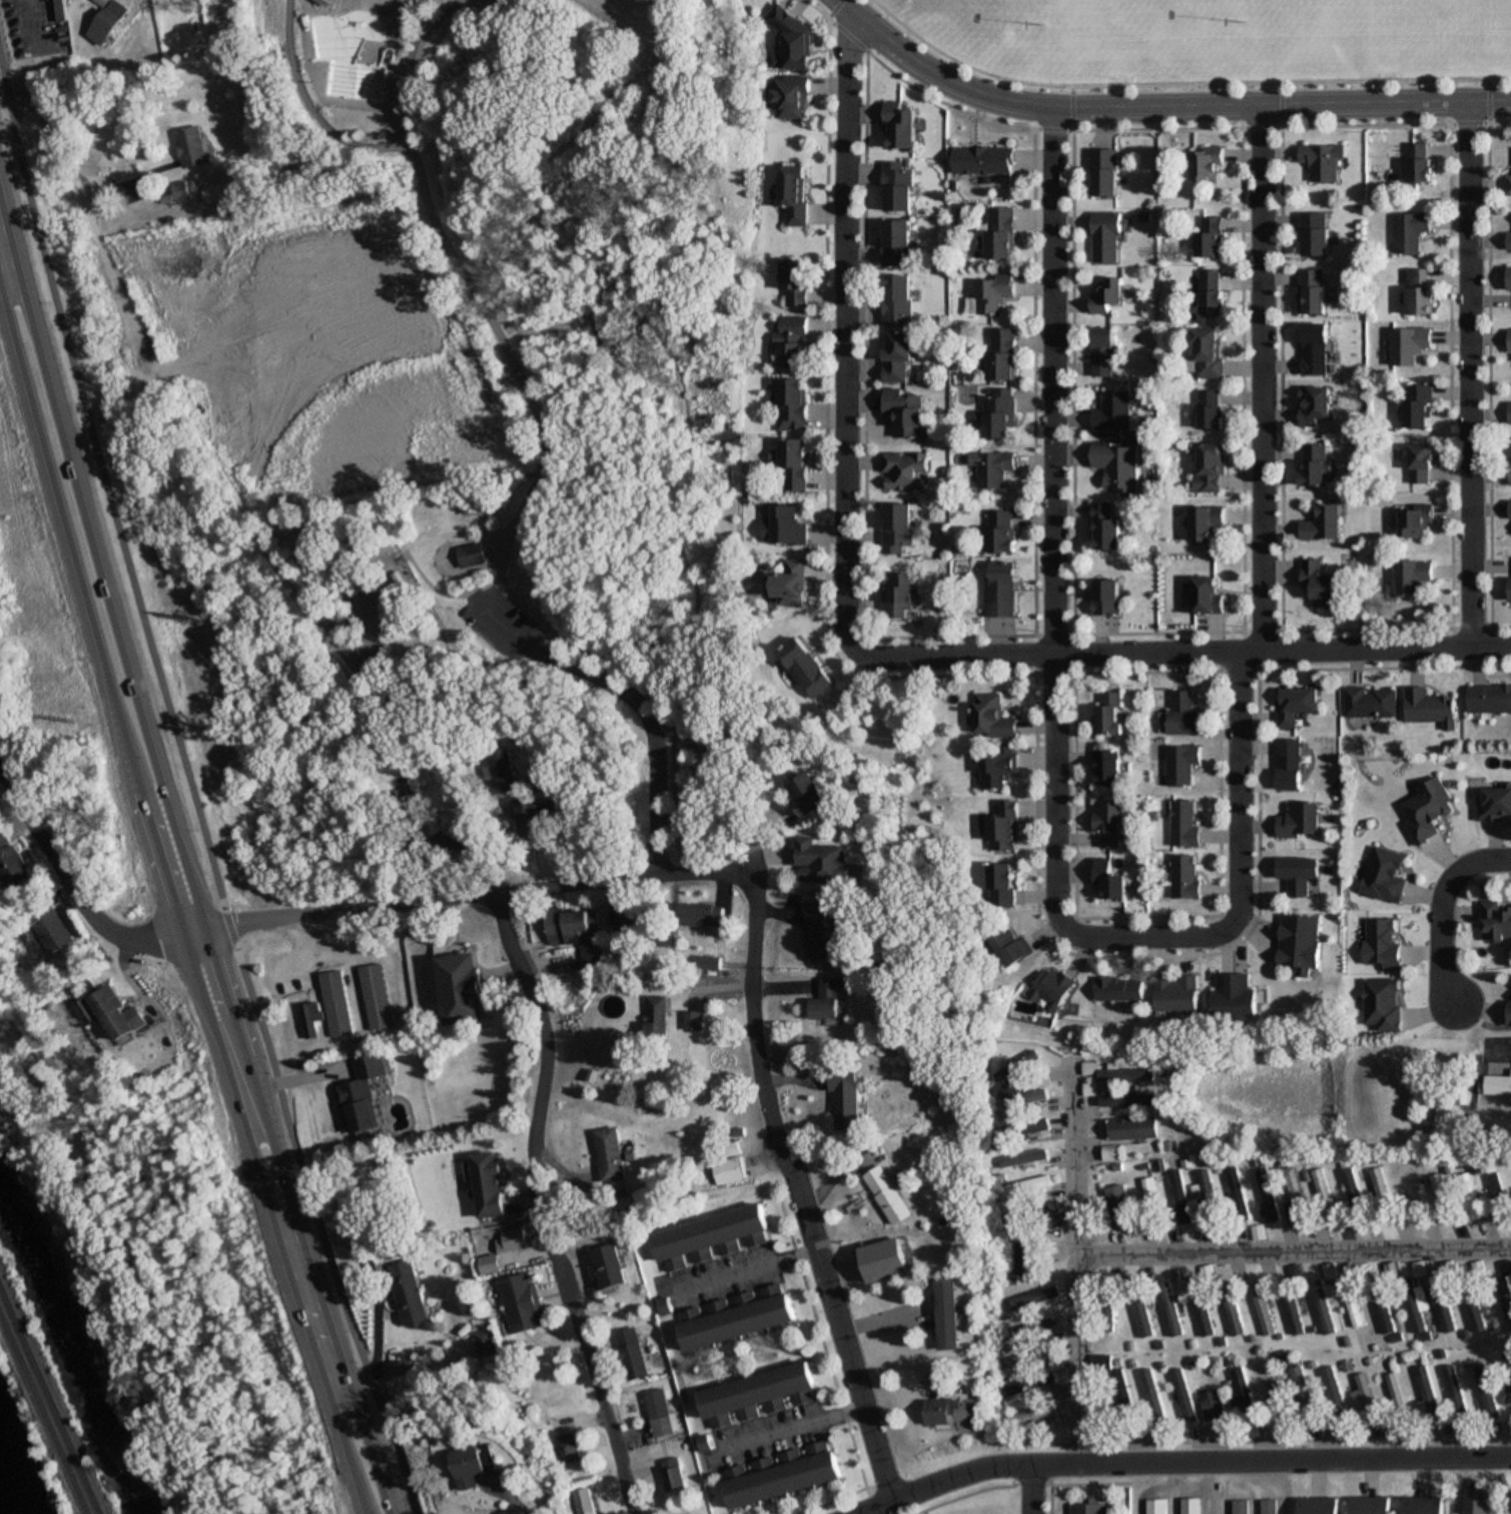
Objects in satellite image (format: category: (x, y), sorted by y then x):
road: (832, 9)
building: (60, 10)
building: (108, 22)
park: (1491, 27)
park: (1355, 29)
park: (1142, 32)
building: (792, 39)
park: (1216, 45)
building: (345, 65)
road: (1183, 79)
road: (1488, 96)
building: (787, 98)
road: (1280, 101)
road: (1069, 103)
road: (1155, 103)
road: (310, 104)
road: (1136, 125)
building: (900, 126)
building: (192, 147)
building: (983, 161)
building: (1321, 161)
building: (1207, 164)
building: (1419, 164)
road: (569, 165)
building: (1105, 173)
building: (1508, 185)
building: (898, 187)
building: (177, 193)
building: (793, 196)
building: (1409, 232)
building: (1001, 233)
building: (1315, 234)
building: (1106, 238)
building: (1210, 238)
building: (1509, 241)
building: (898, 243)
building: (1510, 278)
building: (794, 284)
building: (1419, 291)
building: (1311, 292)
building: (993, 293)
building: (1211, 293)
building: (1107, 294)
building: (898, 300)
road: (566, 314)
building: (184, 330)
road: (842, 336)
building: (1509, 342)
building: (792, 343)
building: (1409, 345)
building: (1314, 349)
road: (663, 352)
building: (1102, 352)
building: (1209, 353)
building: (898, 354)
building: (1003, 354)
road: (612, 356)
road: (1466, 375)
road: (1258, 377)
park: (539, 391)
building: (793, 405)
building: (1315, 405)
building: (1418, 406)
building: (1211, 410)
building: (905, 412)
building: (1112, 412)
building: (999, 413)
building: (1509, 413)
road: (538, 458)
building: (1510, 461)
building: (1421, 462)
building: (795, 464)
building: (1116, 465)
building: (1314, 465)
building: (992, 468)
building: (1209, 469)
building: (906, 471)
building: (461, 502)
building: (1509, 509)
road: (475, 521)
building: (1415, 521)
building: (1205, 522)
building: (1323, 524)
building: (785, 527)
building: (1106, 527)
building: (898, 528)
building: (1002, 532)
road: (438, 550)
building: (468, 555)
building: (1413, 577)
building: (792, 584)
building: (1320, 584)
building: (1510, 589)
road: (436, 591)
building: (1002, 591)
building: (1209, 595)
building: (900, 596)
building: (1106, 598)
road: (87, 613)
parking lot: (495, 621)
road: (1188, 652)
building: (805, 667)
road: (731, 698)
road: (630, 699)
building: (1490, 699)
building: (1370, 703)
building: (1295, 705)
building: (1429, 708)
building: (1111, 714)
building: (1185, 714)
building: (993, 718)
road: (1053, 739)
building: (1180, 764)
building: (1289, 764)
building: (997, 767)
building: (1108, 768)
building: (499, 770)
building: (809, 796)
building: (1494, 805)
road: (188, 807)
building: (1426, 811)
building: (526, 818)
building: (1300, 821)
building: (1108, 824)
building: (1184, 825)
building: (1003, 827)
building: (455, 840)
road: (185, 843)
building: (13, 861)
building: (818, 861)
building: (1299, 874)
building: (1384, 876)
building: (1185, 877)
road: (71, 881)
building: (1110, 882)
building: (1001, 885)
road: (464, 896)
road: (1441, 909)
building: (703, 915)
building: (636, 919)
building: (1495, 921)
building: (54, 929)
building: (575, 932)
building: (818, 935)
building: (1300, 943)
building: (1381, 944)
building: (1010, 947)
building: (1051, 988)
building: (1120, 989)
building: (460, 990)
building: (1177, 993)
building: (374, 997)
building: (1235, 998)
building: (830, 1000)
building: (337, 1003)
building: (1382, 1004)
building: (115, 1013)
building: (1508, 1014)
building: (657, 1018)
building: (311, 1019)
building: (694, 1021)
building: (1019, 1066)
building: (1088, 1069)
building: (1125, 1075)
building: (1498, 1086)
building: (363, 1096)
building: (1126, 1099)
building: (848, 1100)
building: (1021, 1100)
building: (1029, 1127)
building: (1133, 1129)
building: (612, 1155)
building: (728, 1171)
building: (488, 1185)
building: (1016, 1188)
building: (1410, 1192)
road: (797, 1194)
building: (1294, 1194)
building: (1204, 1195)
building: (1234, 1195)
building: (1265, 1195)
building: (1351, 1195)
building: (1380, 1195)
building: (889, 1196)
building: (1323, 1196)
building: (1468, 1197)
building: (1497, 1197)
building: (1440, 1198)
building: (1148, 1201)
road: (535, 1205)
building: (1116, 1206)
building: (1014, 1218)
road: (270, 1220)
building: (1255, 1233)
building: (712, 1238)
building: (512, 1240)
road: (125, 1245)
road: (1291, 1251)
building: (1022, 1259)
road: (1071, 1263)
building: (489, 1264)
building: (609, 1268)
building: (1416, 1269)
building: (1446, 1269)
building: (1475, 1269)
building: (410, 1295)
building: (1504, 1298)
building: (522, 1304)
building: (1350, 1304)
building: (1441, 1306)
building: (1323, 1307)
building: (1260, 1309)
building: (1169, 1310)
building: (1200, 1310)
building: (1138, 1311)
building: (1383, 1311)
building: (1474, 1311)
building: (1291, 1314)
building: (947, 1315)
building: (1232, 1315)
building: (1417, 1316)
building: (740, 1319)
building: (1022, 1331)
building: (485, 1344)
building: (1044, 1354)
building: (629, 1355)
building: (1012, 1363)
building: (1345, 1367)
building: (1047, 1380)
building: (1332, 1391)
building: (1301, 1392)
building: (1486, 1393)
building: (1425, 1394)
building: (1454, 1394)
building: (1394, 1395)
building: (1182, 1396)
building: (759, 1397)
building: (1150, 1397)
building: (1241, 1397)
building: (1365, 1398)
railway: (48, 1401)
building: (1275, 1402)
building: (1211, 1406)
railway: (43, 1413)
building: (656, 1414)
building: (951, 1414)
building: (1031, 1416)
building: (566, 1449)
road: (1183, 1461)
building: (477, 1467)
building: (671, 1476)
building: (785, 1476)
road: (1029, 1489)
building: (582, 1502)
building: (1478, 1502)
building: (1510, 1502)
building: (1422, 1505)
building: (1190, 1506)
building: (1268, 1506)
building: (1317, 1506)
building: (1370, 1506)
building: (1155, 1507)
building: (1240, 1507)
building: (1088, 1509)

